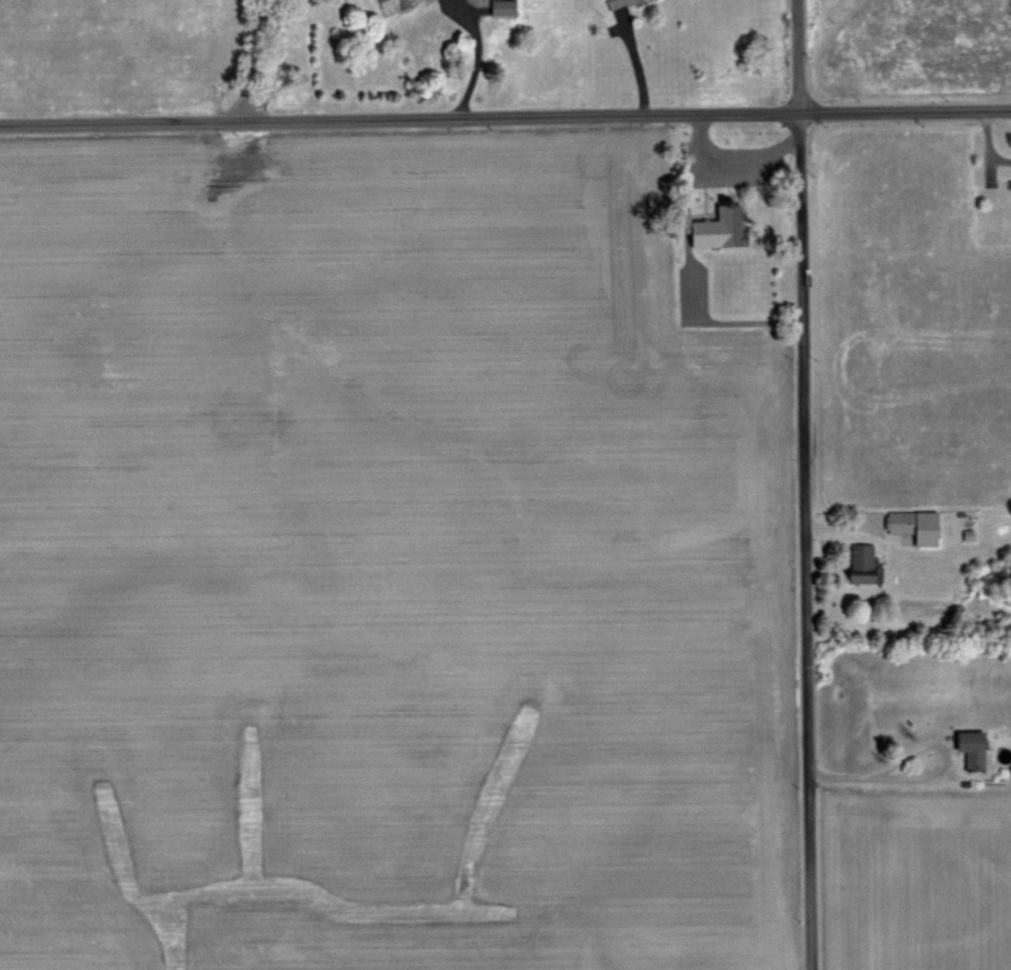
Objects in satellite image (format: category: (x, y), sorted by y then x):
building: (397, 4)
building: (623, 4)
road: (460, 56)
road: (251, 61)
road: (505, 118)
road: (729, 157)
building: (724, 228)
road: (805, 484)
building: (920, 526)
building: (865, 556)
building: (976, 750)
road: (884, 773)

